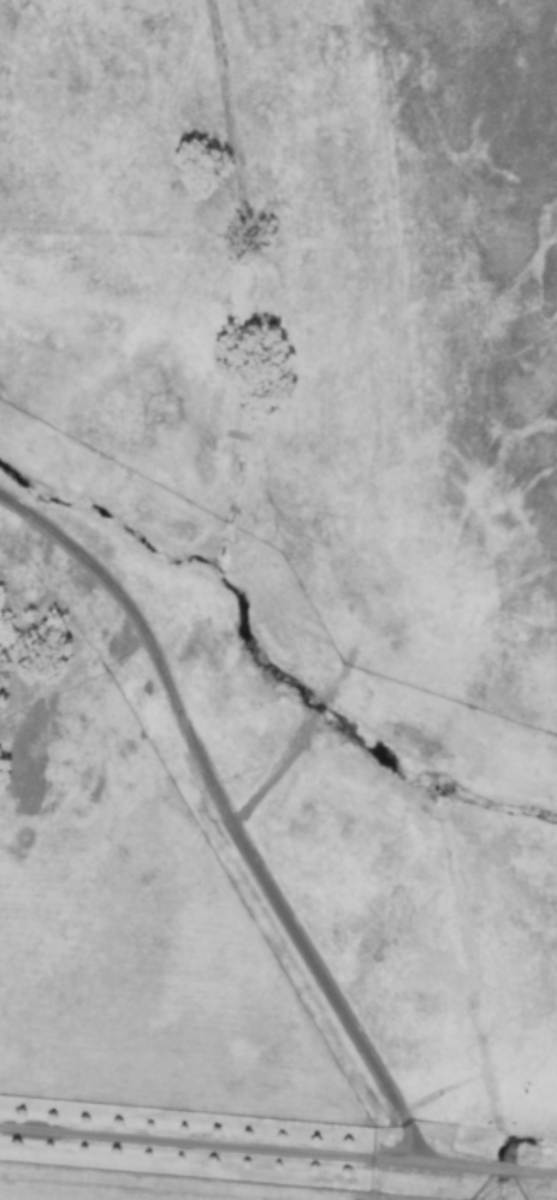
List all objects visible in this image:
road: (278, 1149)

